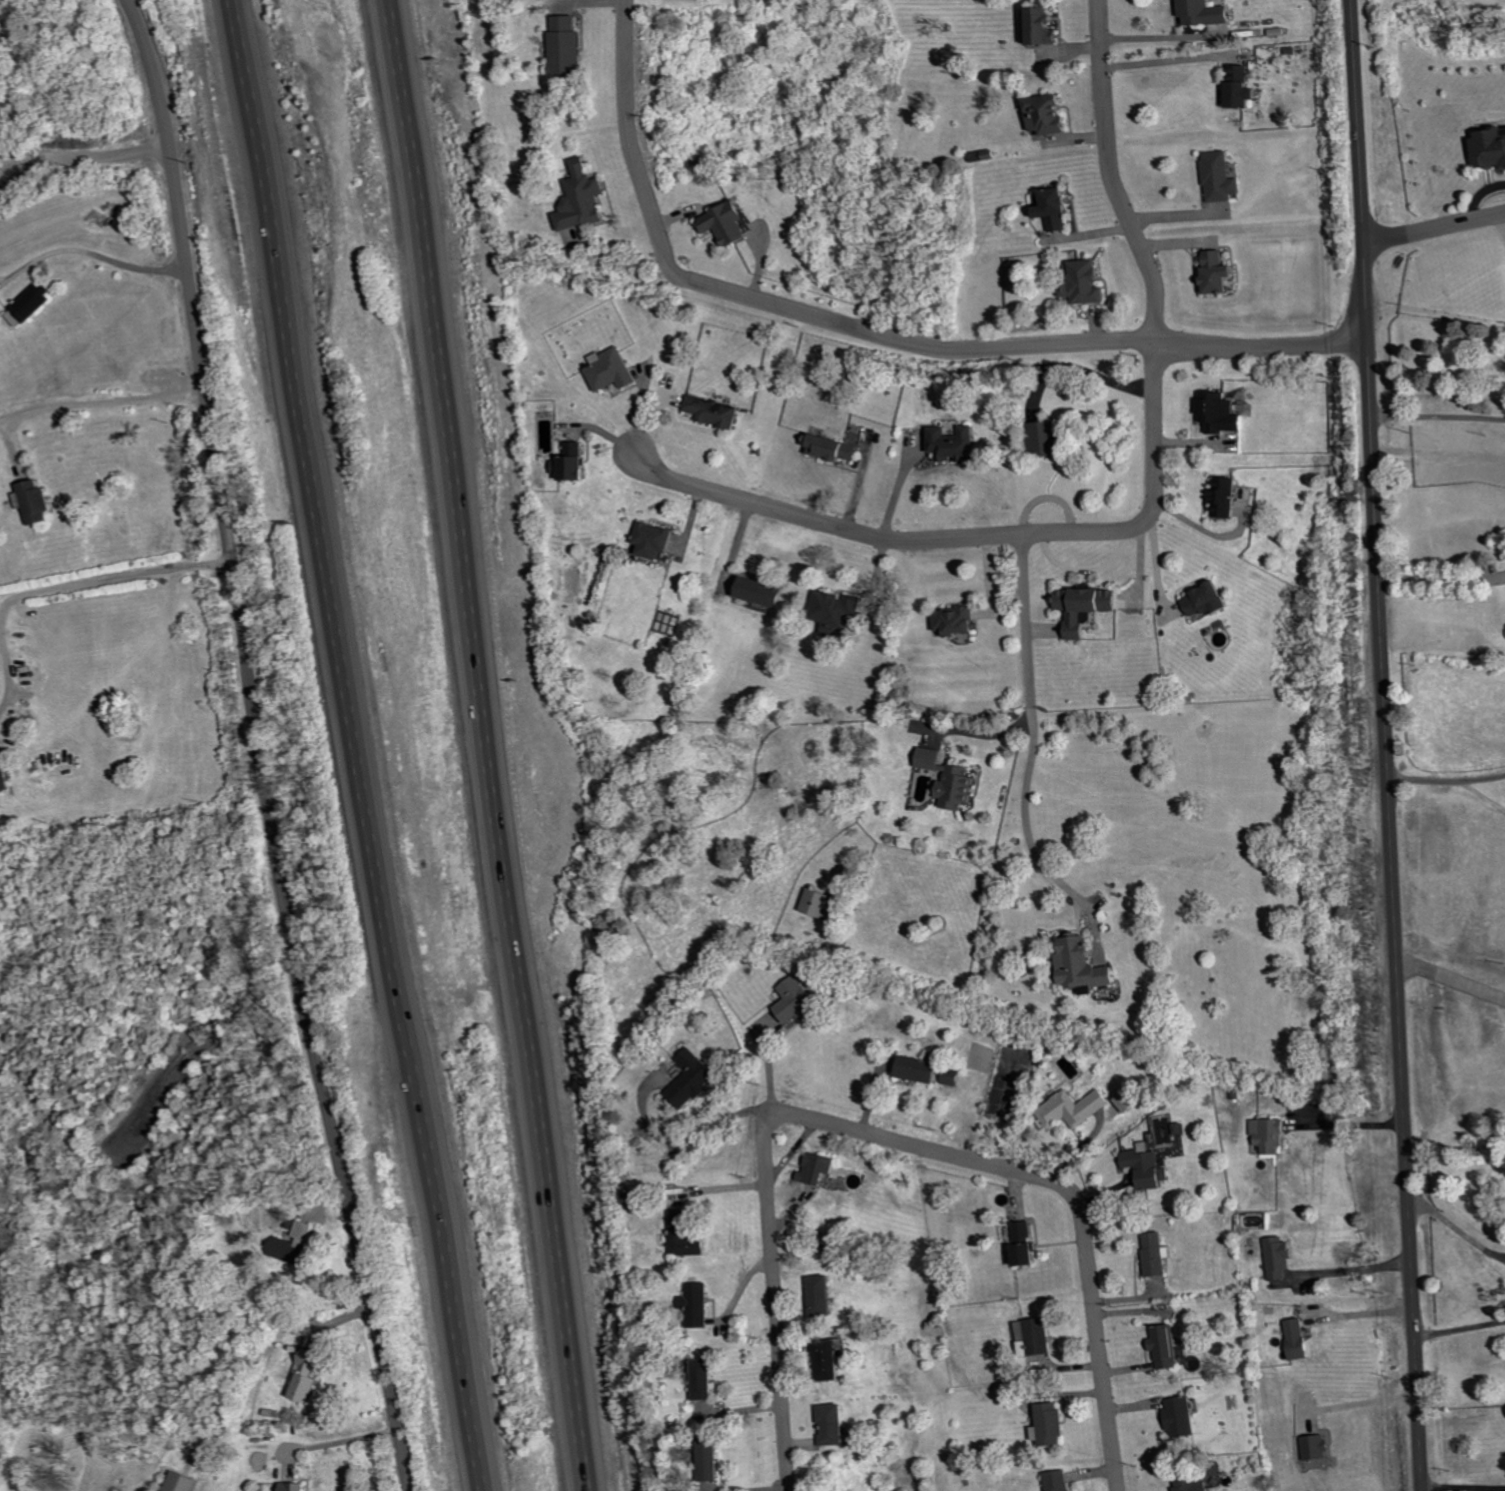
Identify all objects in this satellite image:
building: (1206, 13)
building: (1049, 26)
road: (143, 28)
road: (1166, 35)
building: (568, 45)
road: (1169, 59)
building: (1246, 89)
building: (1052, 114)
building: (1493, 148)
road: (103, 156)
road: (16, 158)
road: (1112, 173)
building: (1223, 177)
building: (585, 198)
building: (1060, 209)
road: (1500, 219)
building: (732, 223)
road: (1434, 227)
road: (91, 247)
building: (1222, 273)
building: (1089, 283)
building: (29, 308)
road: (875, 332)
building: (615, 370)
road: (1087, 372)
road: (101, 400)
building: (718, 411)
building: (1224, 413)
road: (1438, 416)
building: (1049, 439)
building: (956, 444)
building: (836, 449)
building: (575, 463)
building: (1229, 498)
building: (38, 500)
road: (972, 538)
building: (658, 540)
road: (112, 578)
road: (1441, 580)
building: (765, 592)
building: (1210, 601)
building: (1090, 608)
building: (837, 610)
building: (959, 621)
road: (1028, 628)
road: (5, 677)
road: (981, 736)
road: (356, 745)
road: (489, 745)
road: (1386, 745)
building: (4, 773)
road: (1483, 775)
road: (263, 777)
building: (953, 778)
road: (1424, 778)
road: (1483, 793)
road: (1027, 819)
building: (821, 902)
building: (1086, 966)
road: (1451, 976)
building: (799, 999)
building: (922, 1069)
building: (955, 1077)
building: (693, 1078)
building: (1131, 1101)
building: (1075, 1108)
road: (1354, 1123)
building: (1273, 1134)
road: (888, 1135)
building: (1149, 1165)
building: (824, 1168)
building: (689, 1235)
road: (1457, 1238)
building: (298, 1243)
building: (1027, 1244)
building: (1159, 1253)
building: (1282, 1256)
road: (1356, 1268)
building: (827, 1295)
building: (700, 1304)
building: (1037, 1336)
road: (1460, 1336)
building: (1303, 1339)
building: (1170, 1346)
building: (833, 1360)
building: (309, 1377)
building: (707, 1379)
building: (1184, 1416)
building: (837, 1423)
building: (1051, 1424)
road: (342, 1440)
building: (1318, 1447)
building: (715, 1460)
building: (1061, 1481)
building: (185, 1482)
building: (1198, 1484)
road: (1463, 1485)
building: (296, 1486)

